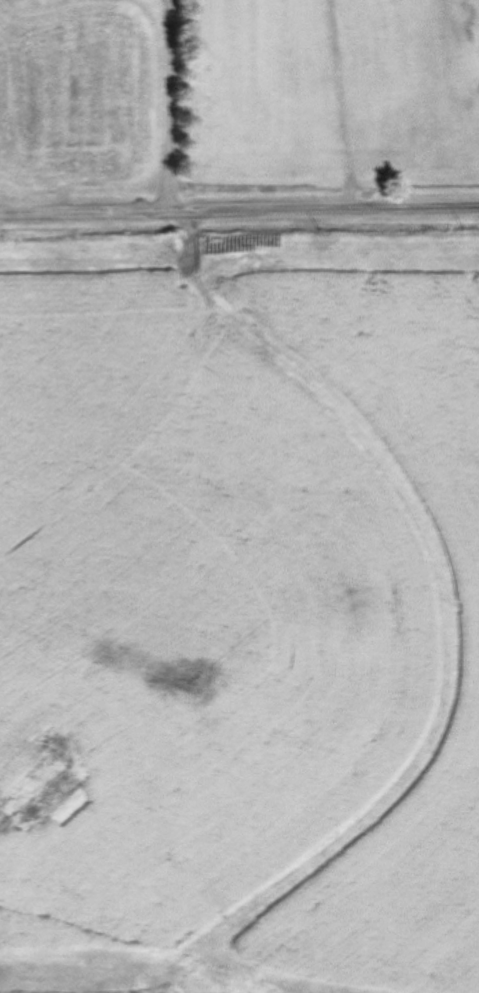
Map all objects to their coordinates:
road: (169, 107)
road: (239, 212)

